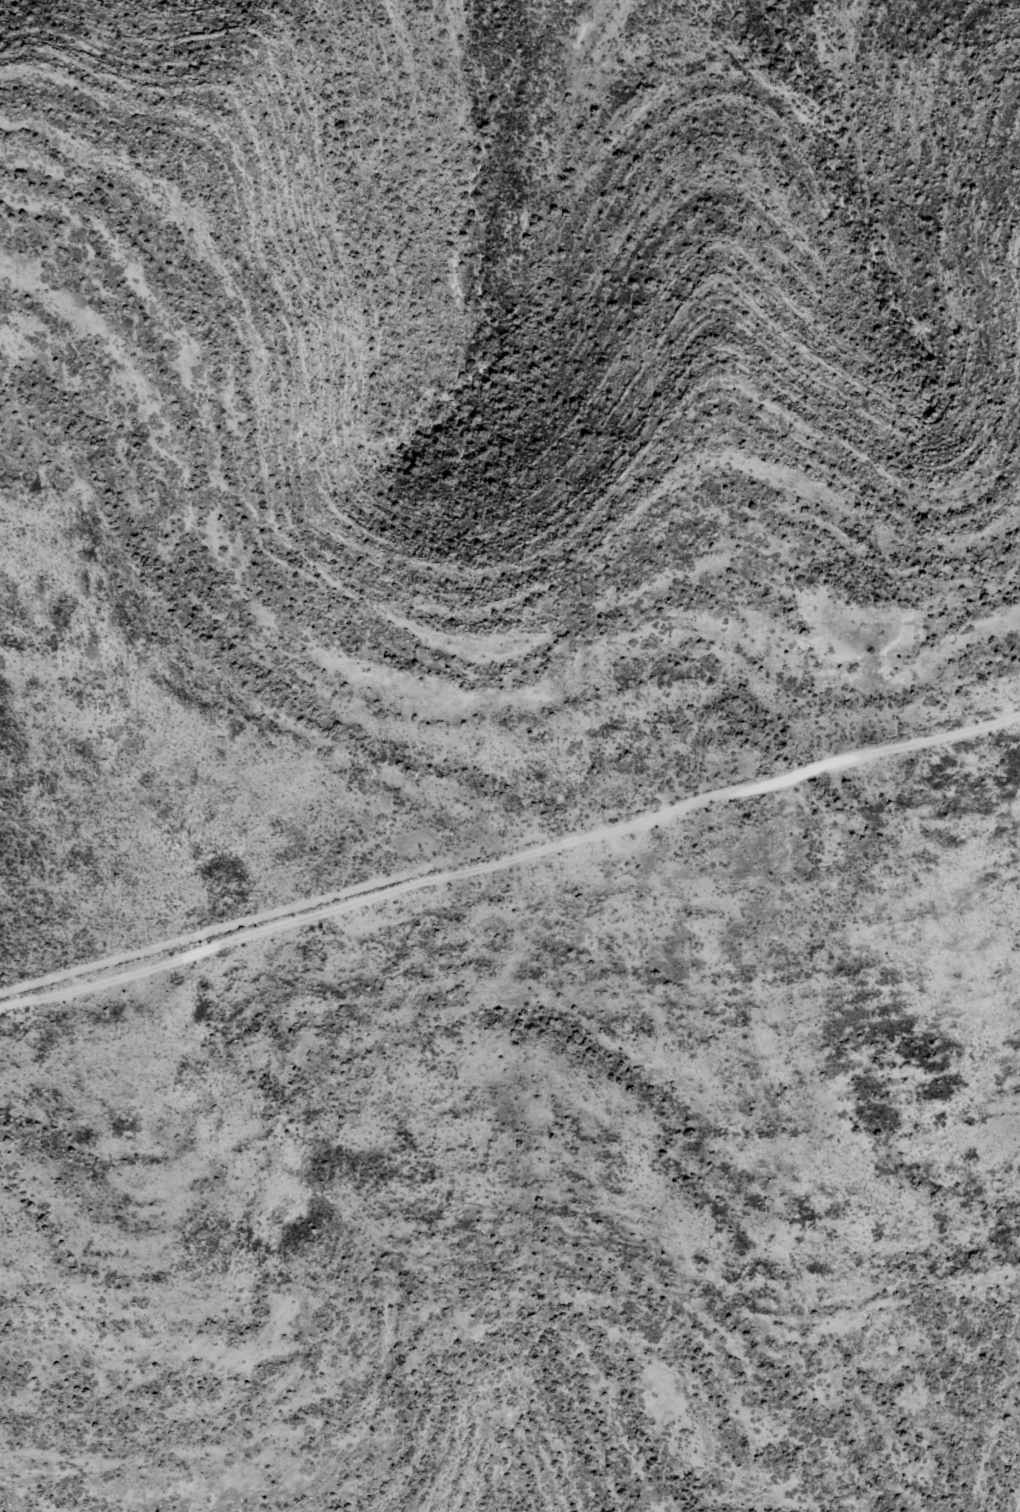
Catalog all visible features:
road: (590, 39)

